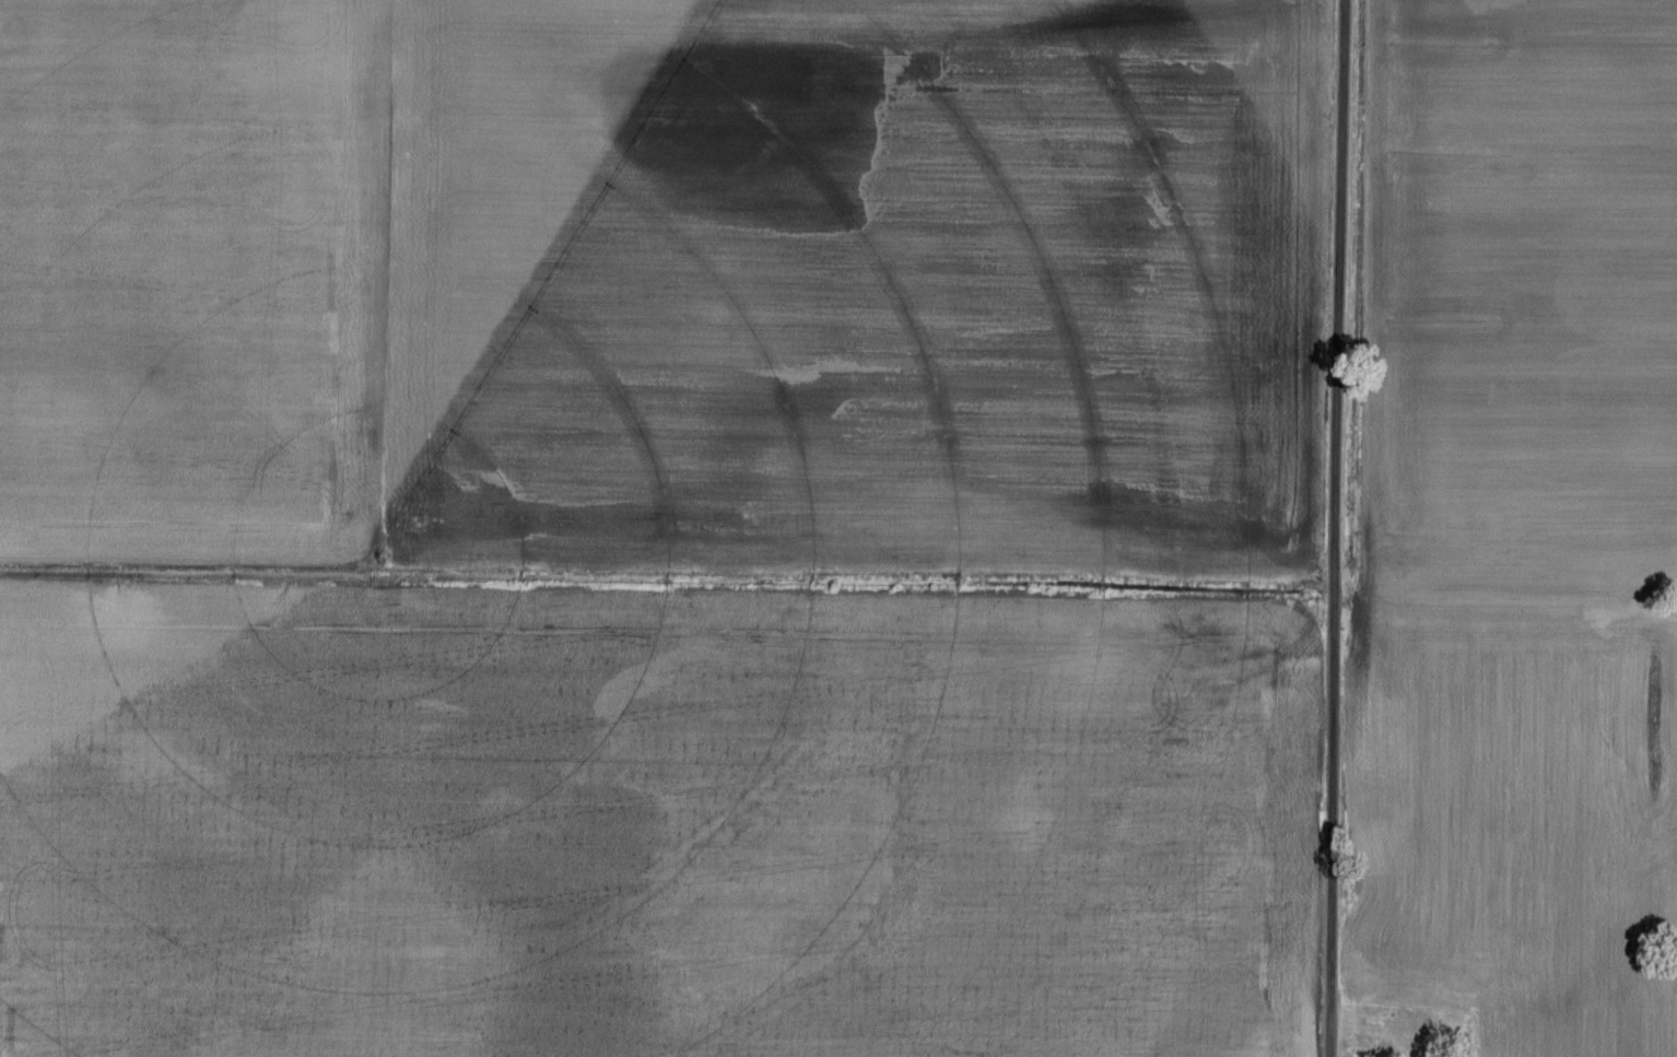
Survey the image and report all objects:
road: (1334, 528)
building: (1373, 1046)

